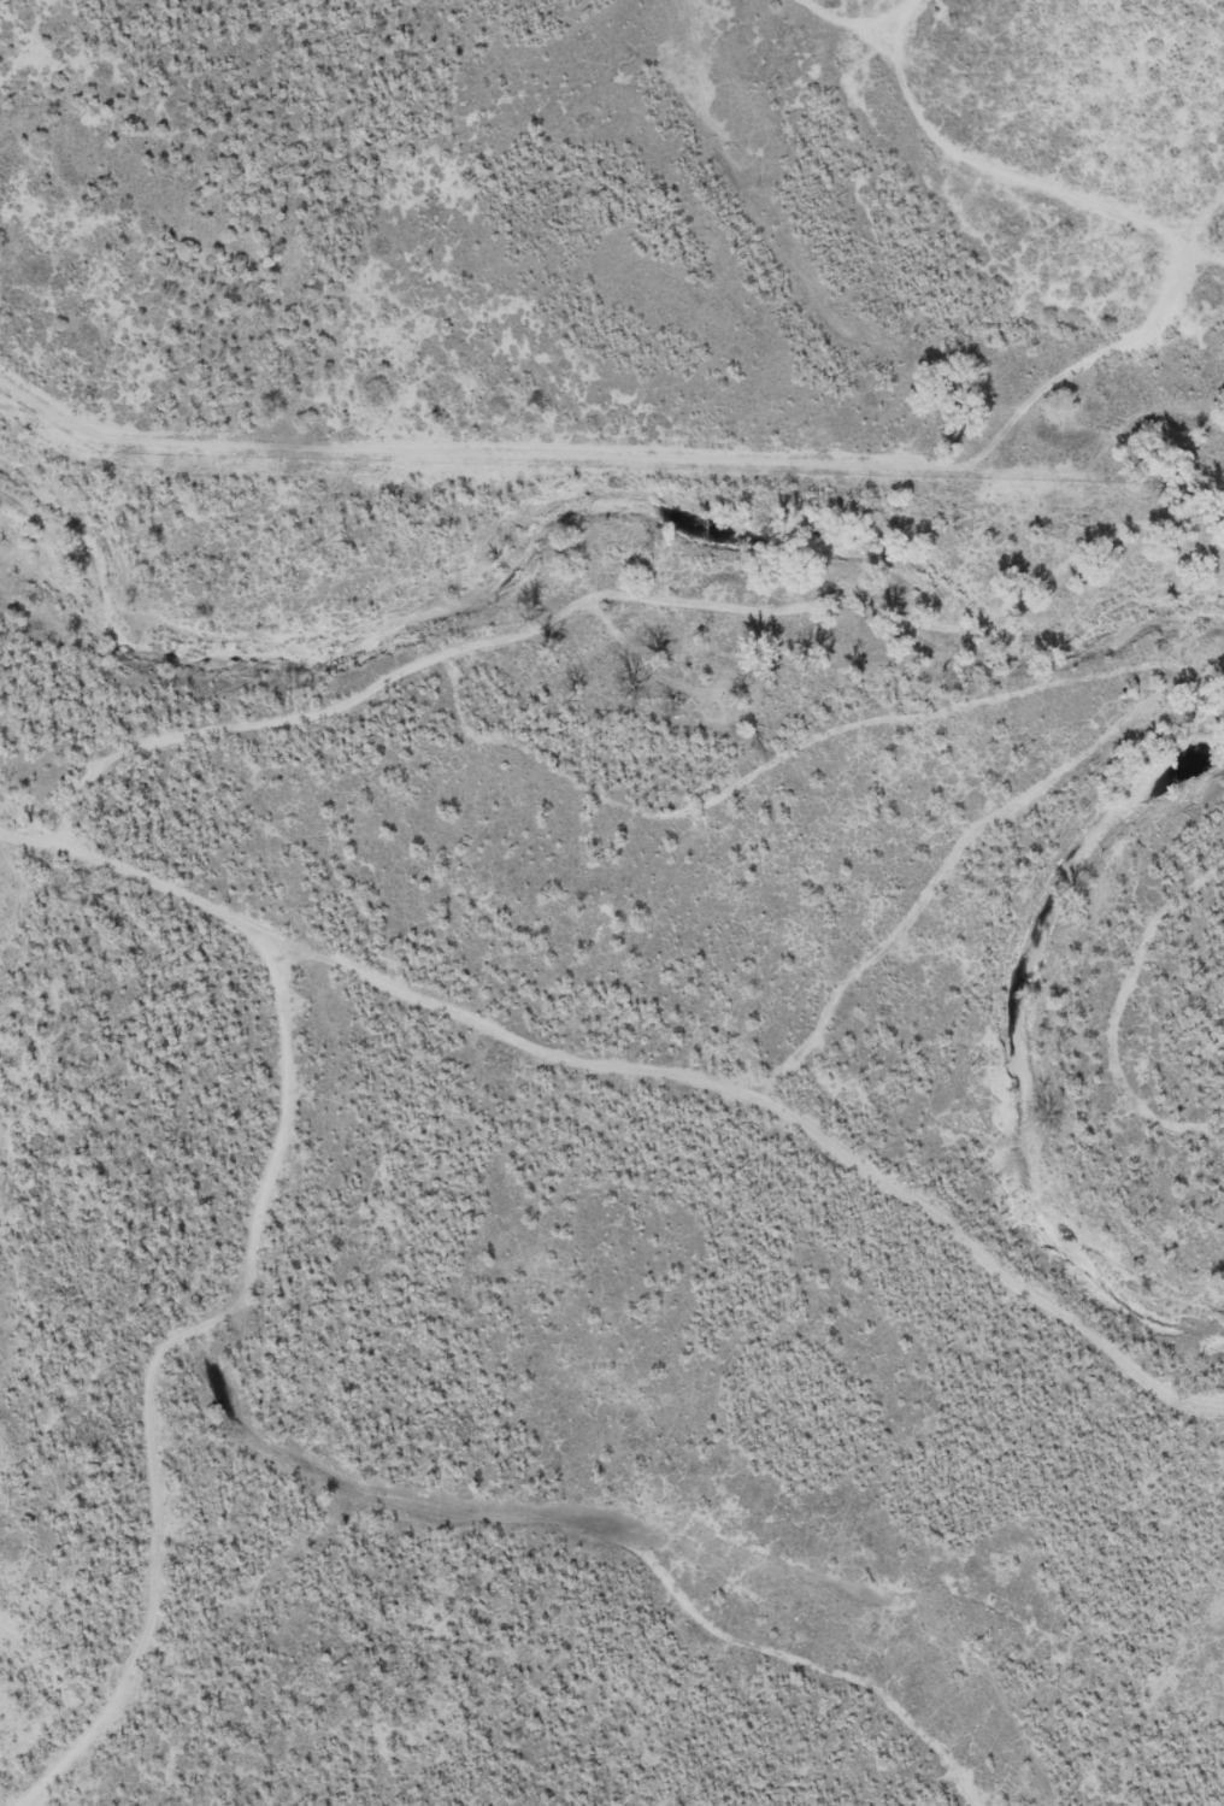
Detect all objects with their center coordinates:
road: (935, 436)
road: (211, 441)
river: (561, 526)
road: (218, 910)
river: (1035, 1034)
road: (846, 1165)
road: (159, 1359)

